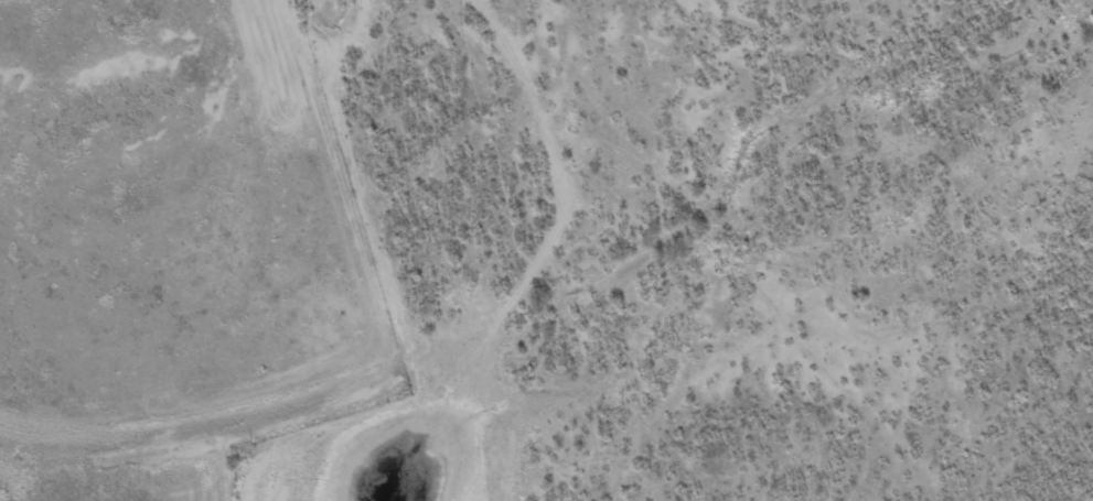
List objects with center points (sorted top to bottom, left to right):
road: (383, 377)

